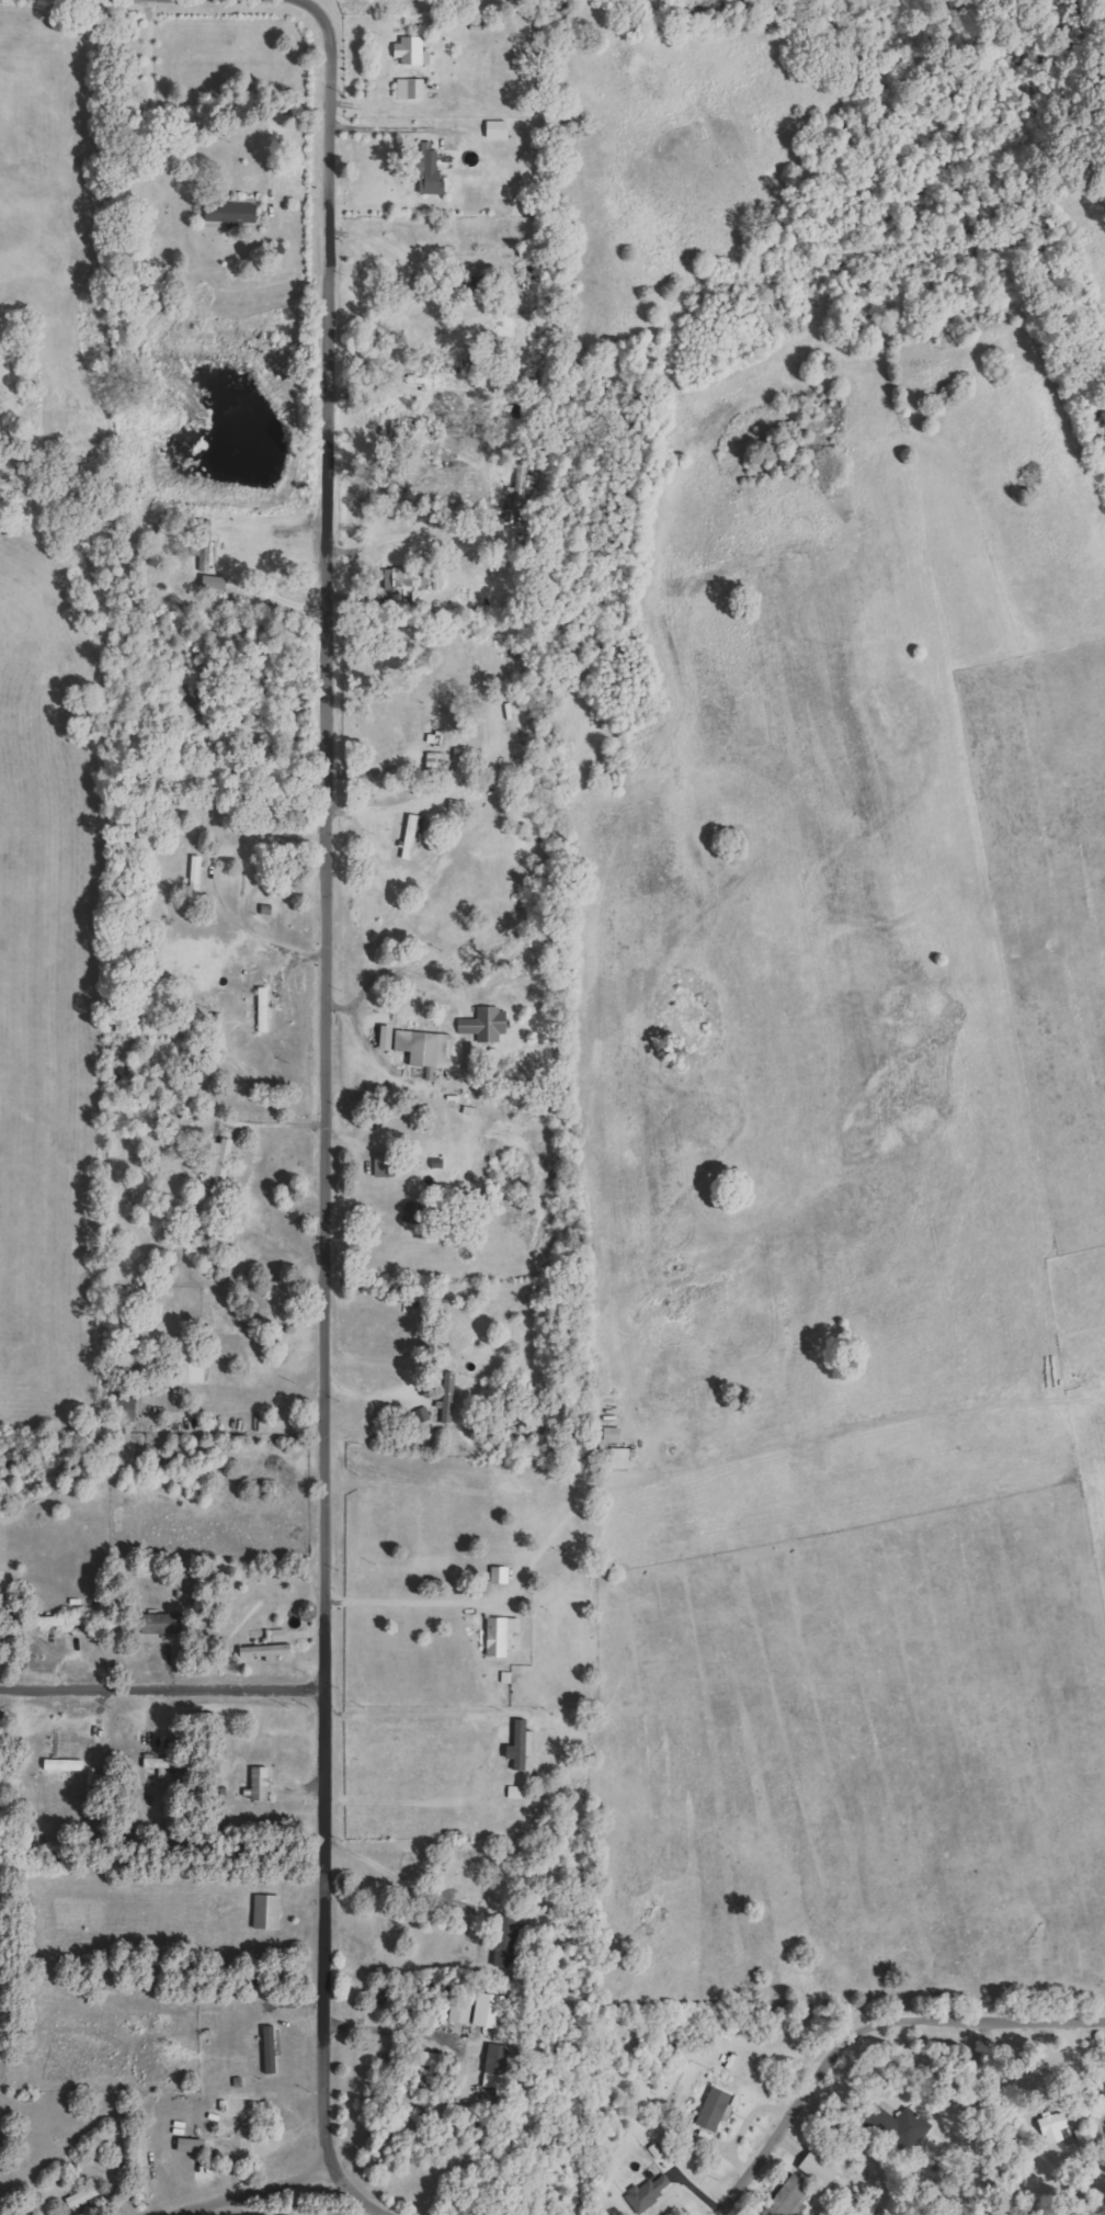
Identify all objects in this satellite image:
building: (408, 50)
building: (407, 89)
building: (492, 129)
building: (426, 171)
building: (228, 214)
building: (405, 428)
building: (203, 545)
building: (408, 835)
building: (202, 965)
building: (483, 1024)
building: (420, 1049)
road: (323, 1072)
building: (217, 1161)
building: (185, 1372)
building: (445, 1399)
building: (614, 1459)
building: (58, 1621)
building: (153, 1625)
building: (495, 1636)
building: (264, 1648)
road: (162, 1688)
building: (515, 1747)
building: (168, 1763)
building: (68, 1764)
building: (255, 1784)
building: (270, 1911)
building: (501, 1944)
building: (472, 2011)
road: (867, 2025)
building: (273, 2049)
building: (491, 2059)
building: (710, 2110)
building: (875, 2117)
building: (1052, 2129)
building: (225, 2147)
building: (813, 2170)
road: (284, 2182)
building: (647, 2192)
building: (87, 2196)
building: (785, 2197)

